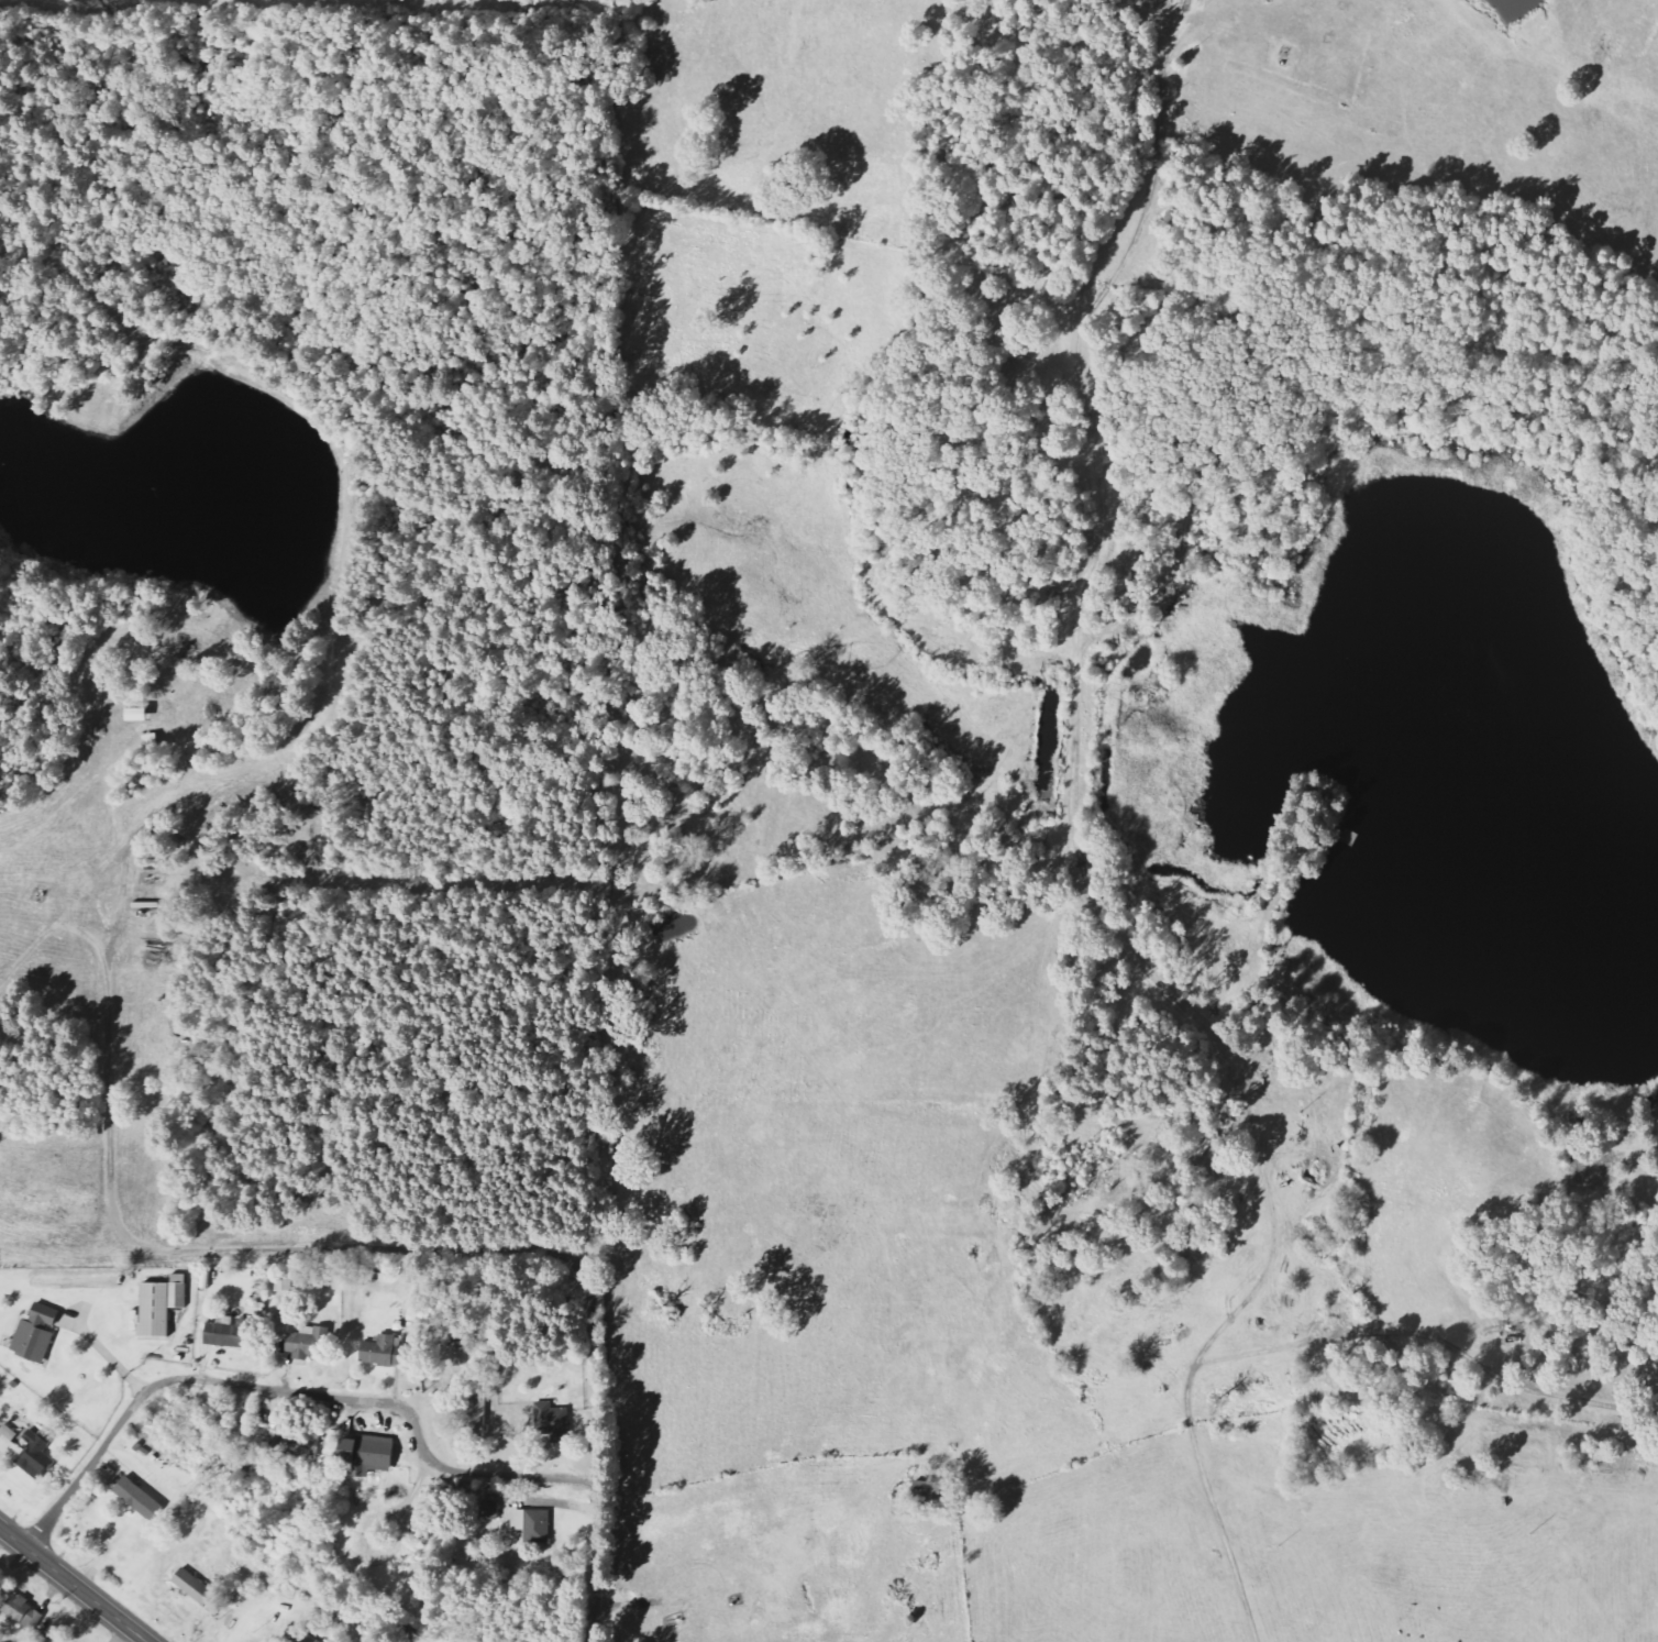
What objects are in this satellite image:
building: (137, 714)
building: (285, 1282)
building: (162, 1304)
building: (37, 1333)
building: (226, 1333)
building: (306, 1343)
building: (384, 1349)
road: (283, 1389)
building: (477, 1418)
building: (553, 1421)
building: (8, 1437)
building: (300, 1444)
building: (37, 1453)
building: (368, 1454)
building: (139, 1498)
building: (533, 1524)
road: (74, 1584)
building: (194, 1586)
building: (23, 1610)
building: (300, 1637)

